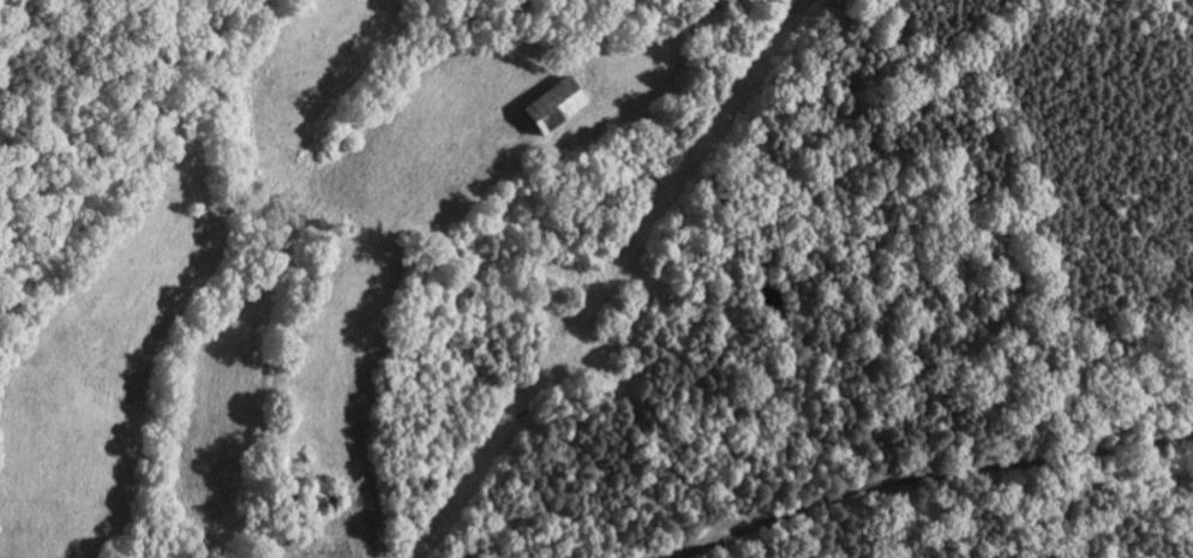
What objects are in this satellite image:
road: (927, 478)

